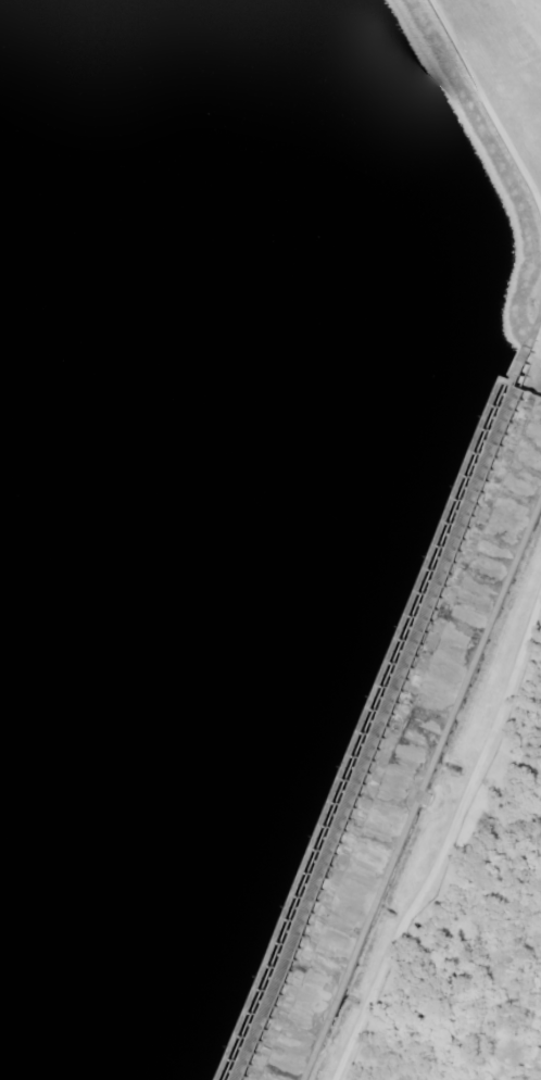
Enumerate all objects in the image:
building: (267, 510)
building: (282, 573)
dam: (400, 745)
road: (445, 839)

